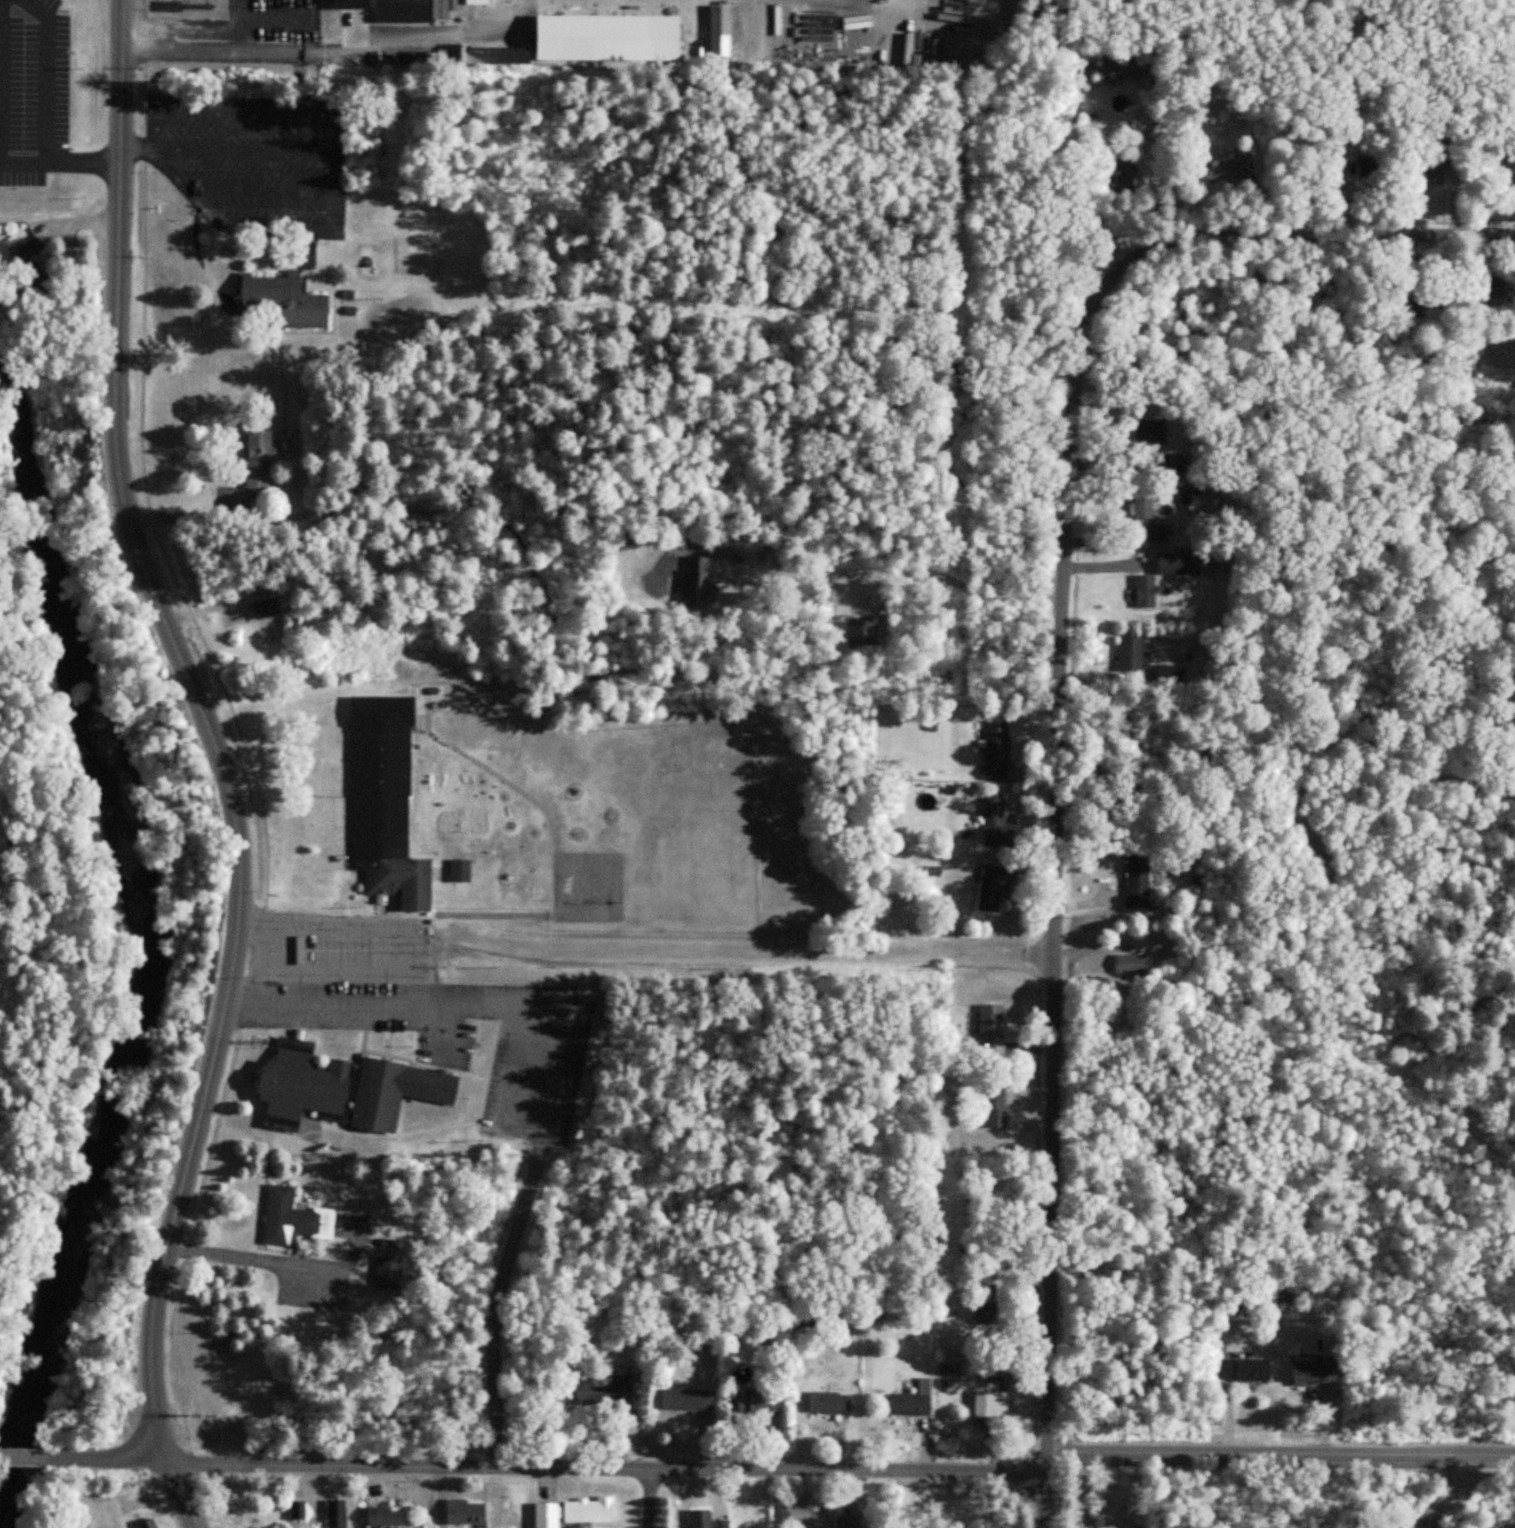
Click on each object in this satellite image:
building: (478, 0)
building: (405, 8)
building: (444, 9)
building: (352, 20)
building: (722, 29)
road: (172, 32)
building: (533, 55)
road: (47, 76)
building: (1157, 131)
road: (139, 147)
road: (243, 150)
building: (1353, 153)
building: (1500, 160)
building: (1432, 163)
road: (22, 164)
road: (82, 165)
building: (1373, 171)
road: (326, 172)
building: (1231, 172)
building: (1130, 177)
road: (255, 190)
building: (1435, 201)
road: (1259, 237)
building: (30, 266)
building: (1498, 296)
building: (288, 297)
building: (1151, 433)
building: (262, 459)
building: (1176, 461)
building: (1194, 495)
building: (233, 503)
building: (1149, 520)
building: (1181, 562)
road: (874, 572)
building: (703, 590)
building: (1149, 590)
building: (269, 607)
building: (861, 633)
building: (1134, 653)
building: (998, 749)
road: (229, 763)
building: (390, 799)
building: (1001, 823)
building: (460, 867)
building: (1140, 879)
building: (997, 886)
road: (1060, 906)
road: (360, 924)
building: (1135, 963)
river: (136, 975)
road: (324, 1004)
building: (992, 1020)
building: (350, 1090)
building: (999, 1105)
road: (532, 1169)
building: (294, 1219)
road: (255, 1260)
building: (389, 1270)
building: (987, 1314)
building: (1243, 1369)
building: (993, 1374)
building: (1319, 1377)
building: (600, 1392)
building: (996, 1399)
building: (724, 1400)
building: (829, 1402)
building: (912, 1405)
road: (1282, 1452)
road: (23, 1456)
road: (1049, 1464)
road: (1289, 1464)
road: (548, 1465)
road: (1059, 1488)
park: (1379, 1490)
road: (1459, 1494)
road: (649, 1498)
road: (1048, 1503)
building: (465, 1510)
building: (576, 1510)
building: (337, 1511)
building: (298, 1512)
building: (802, 1516)
building: (383, 1518)
building: (703, 1519)
building: (849, 1521)
building: (147, 1522)

